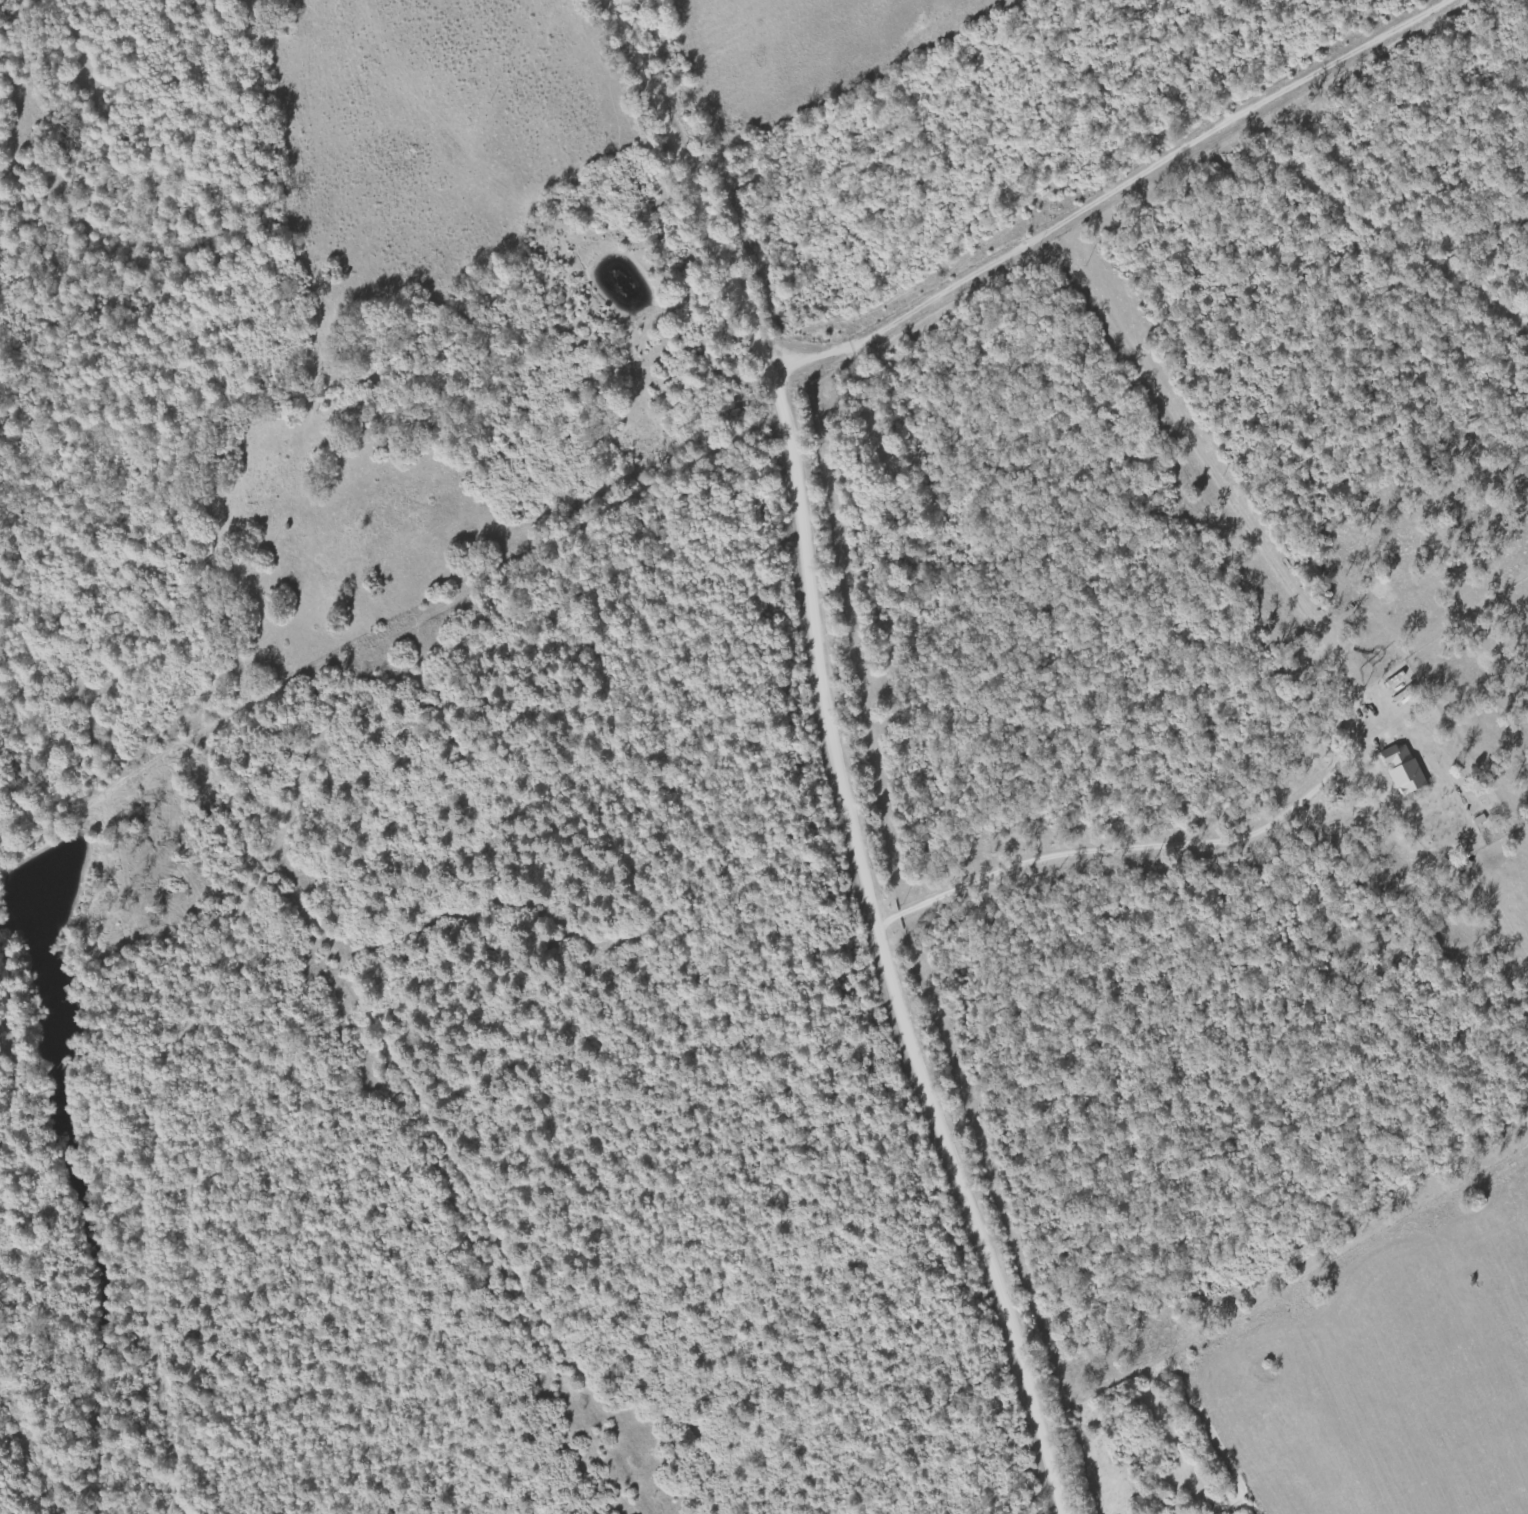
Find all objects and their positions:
road: (1112, 193)
road: (835, 753)
building: (1408, 771)

